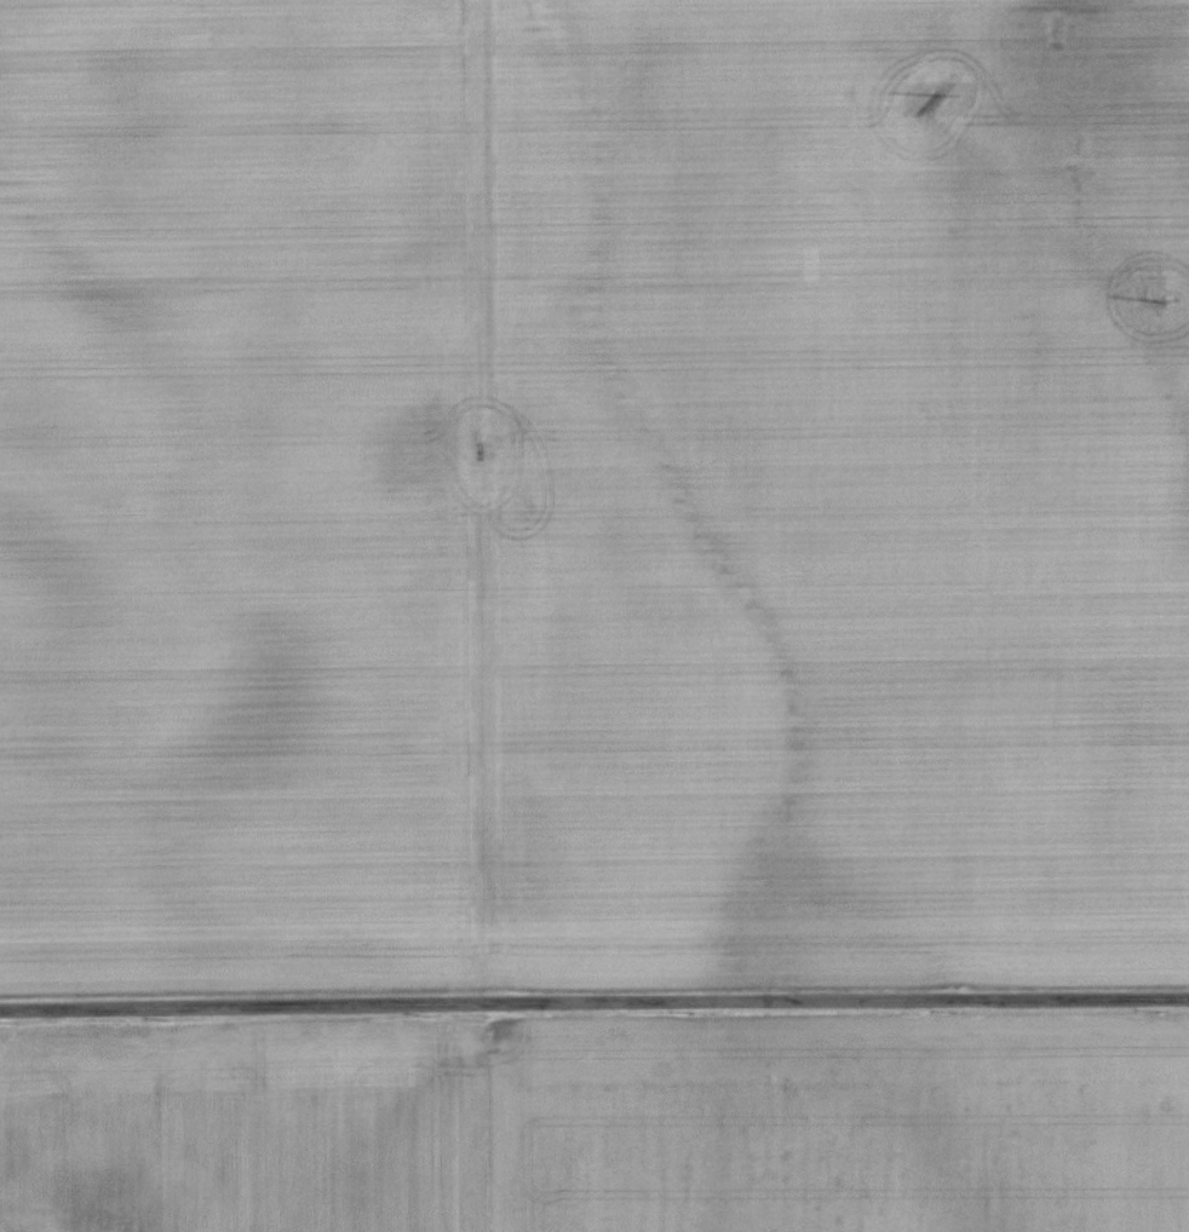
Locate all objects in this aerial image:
road: (593, 1002)

